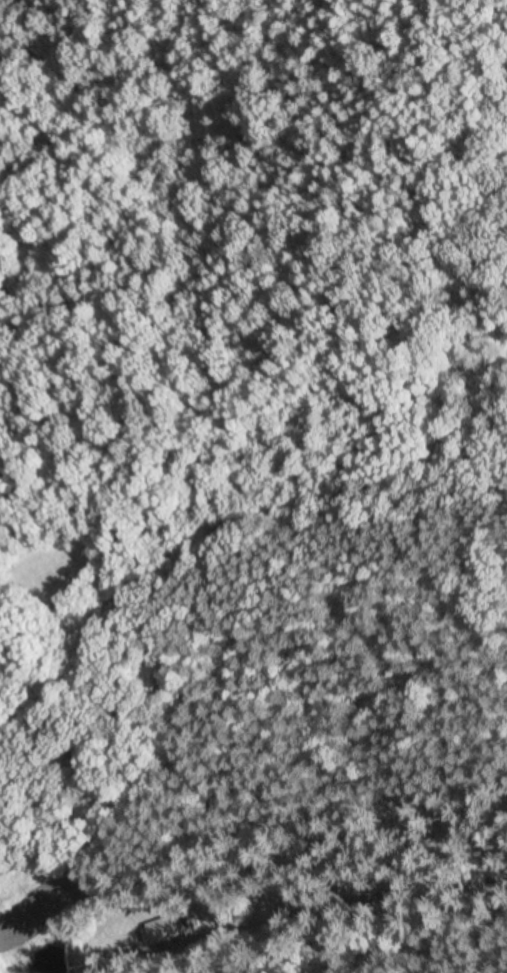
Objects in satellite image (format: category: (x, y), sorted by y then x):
building: (161, 927)

